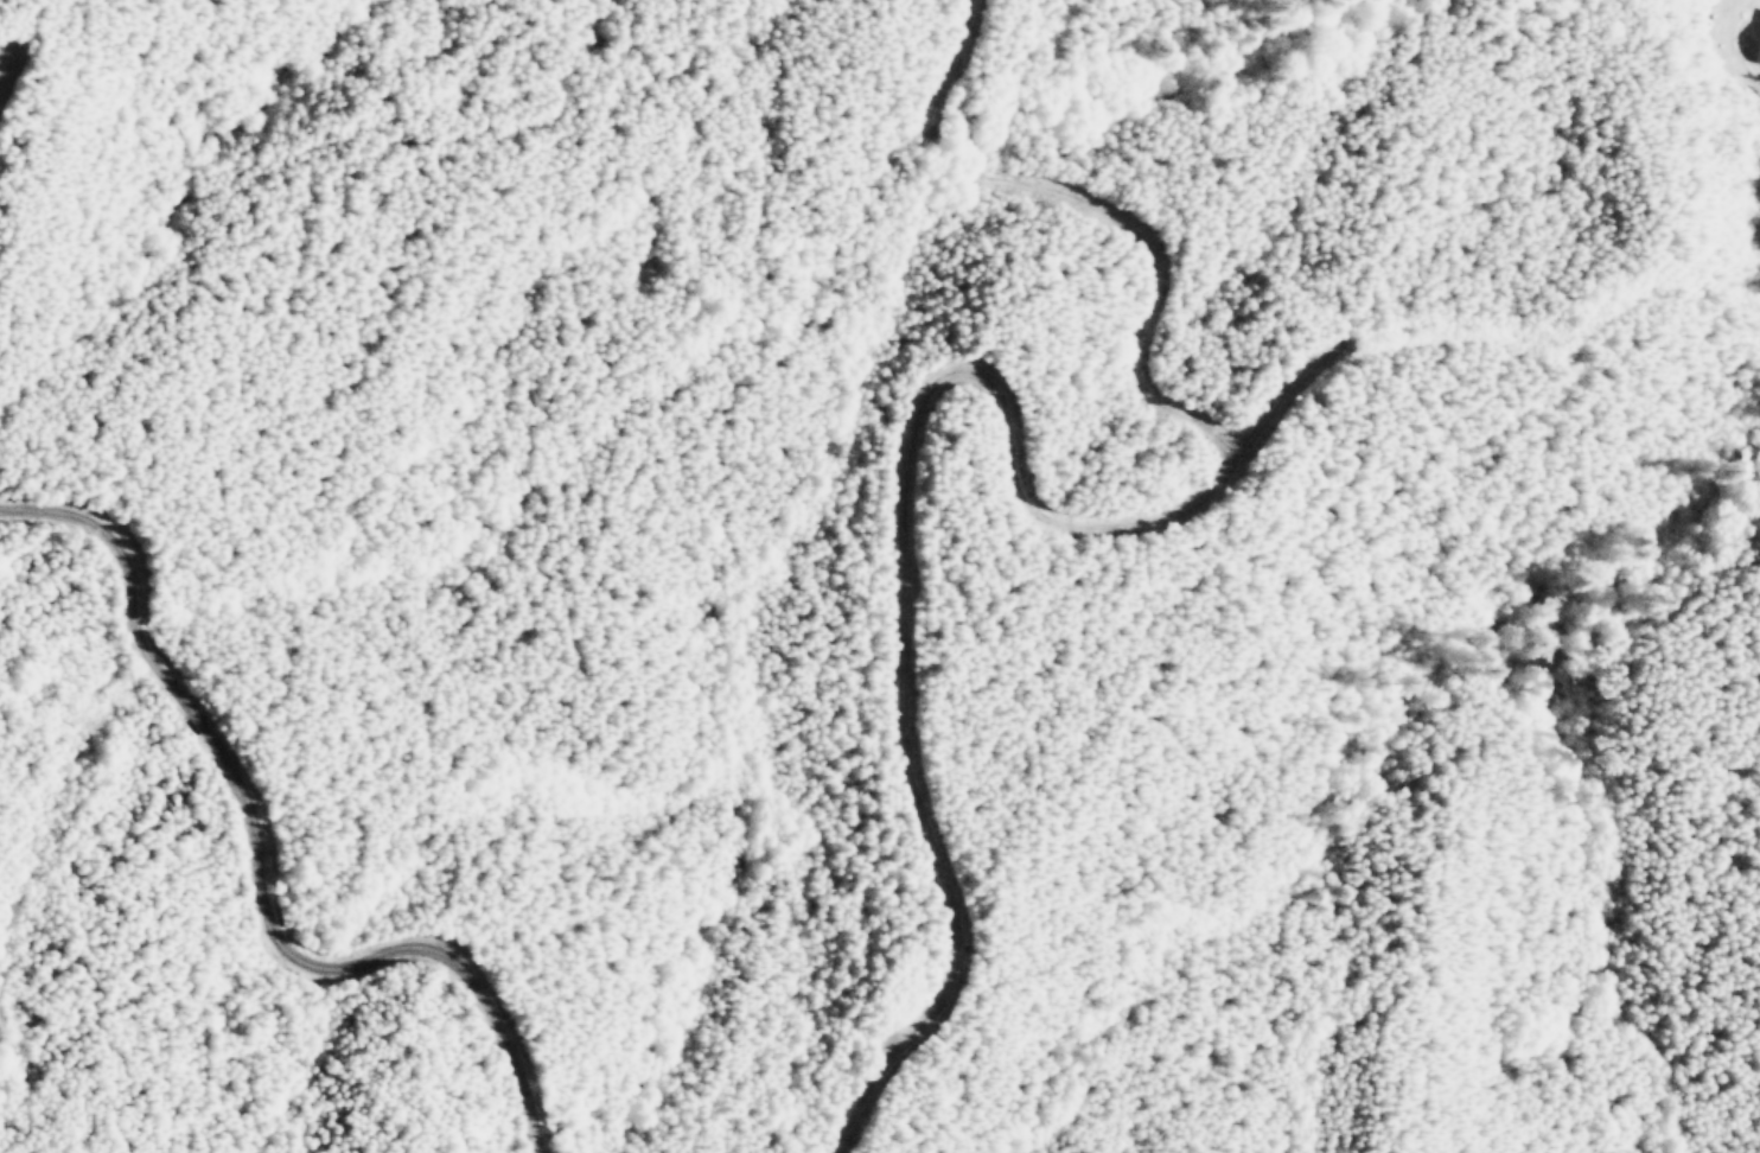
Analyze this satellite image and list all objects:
building: (1758, 46)
road: (465, 90)

